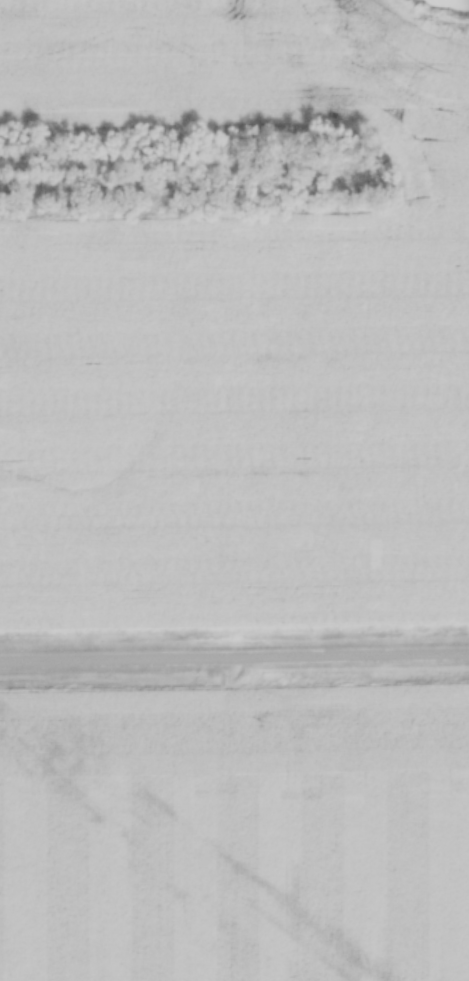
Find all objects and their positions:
road: (234, 656)

